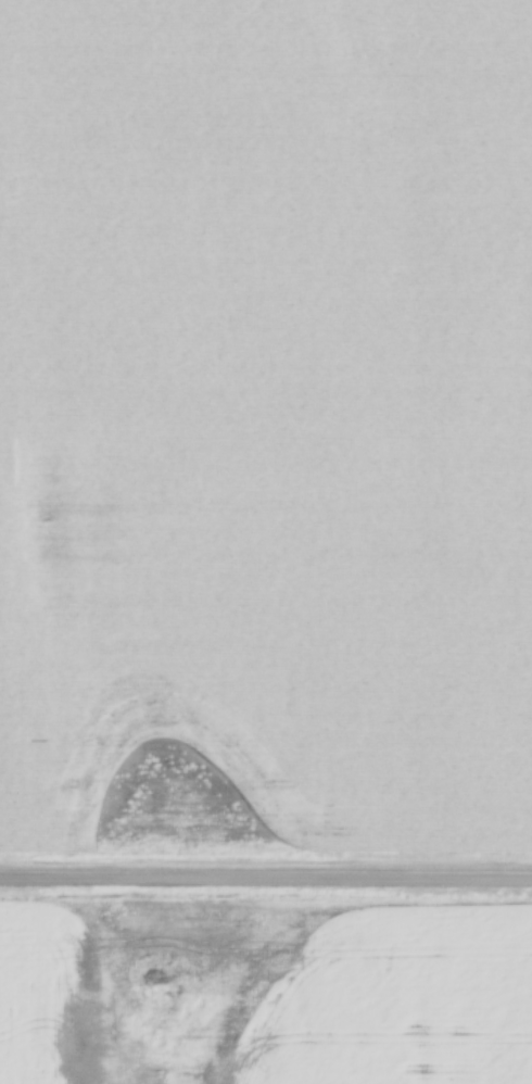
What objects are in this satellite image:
road: (266, 875)

